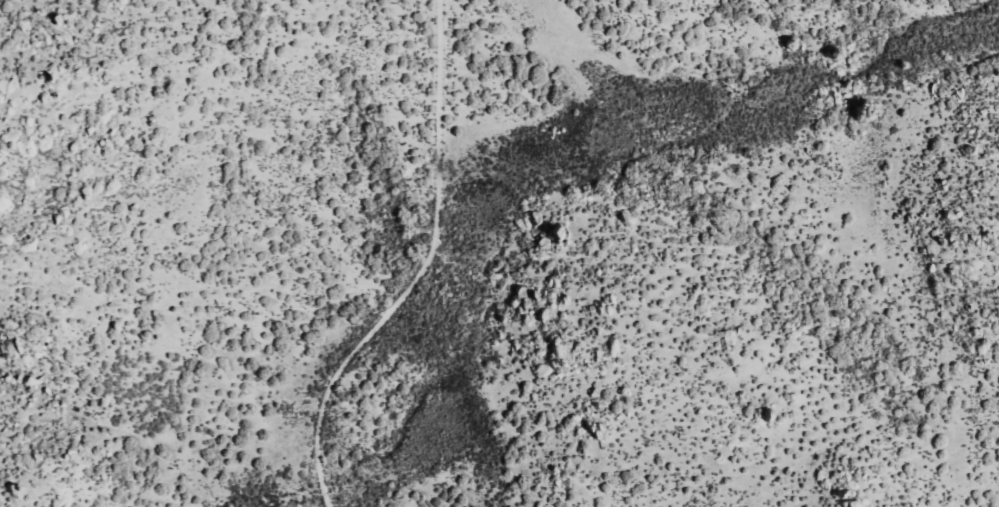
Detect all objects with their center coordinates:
building: (555, 232)

